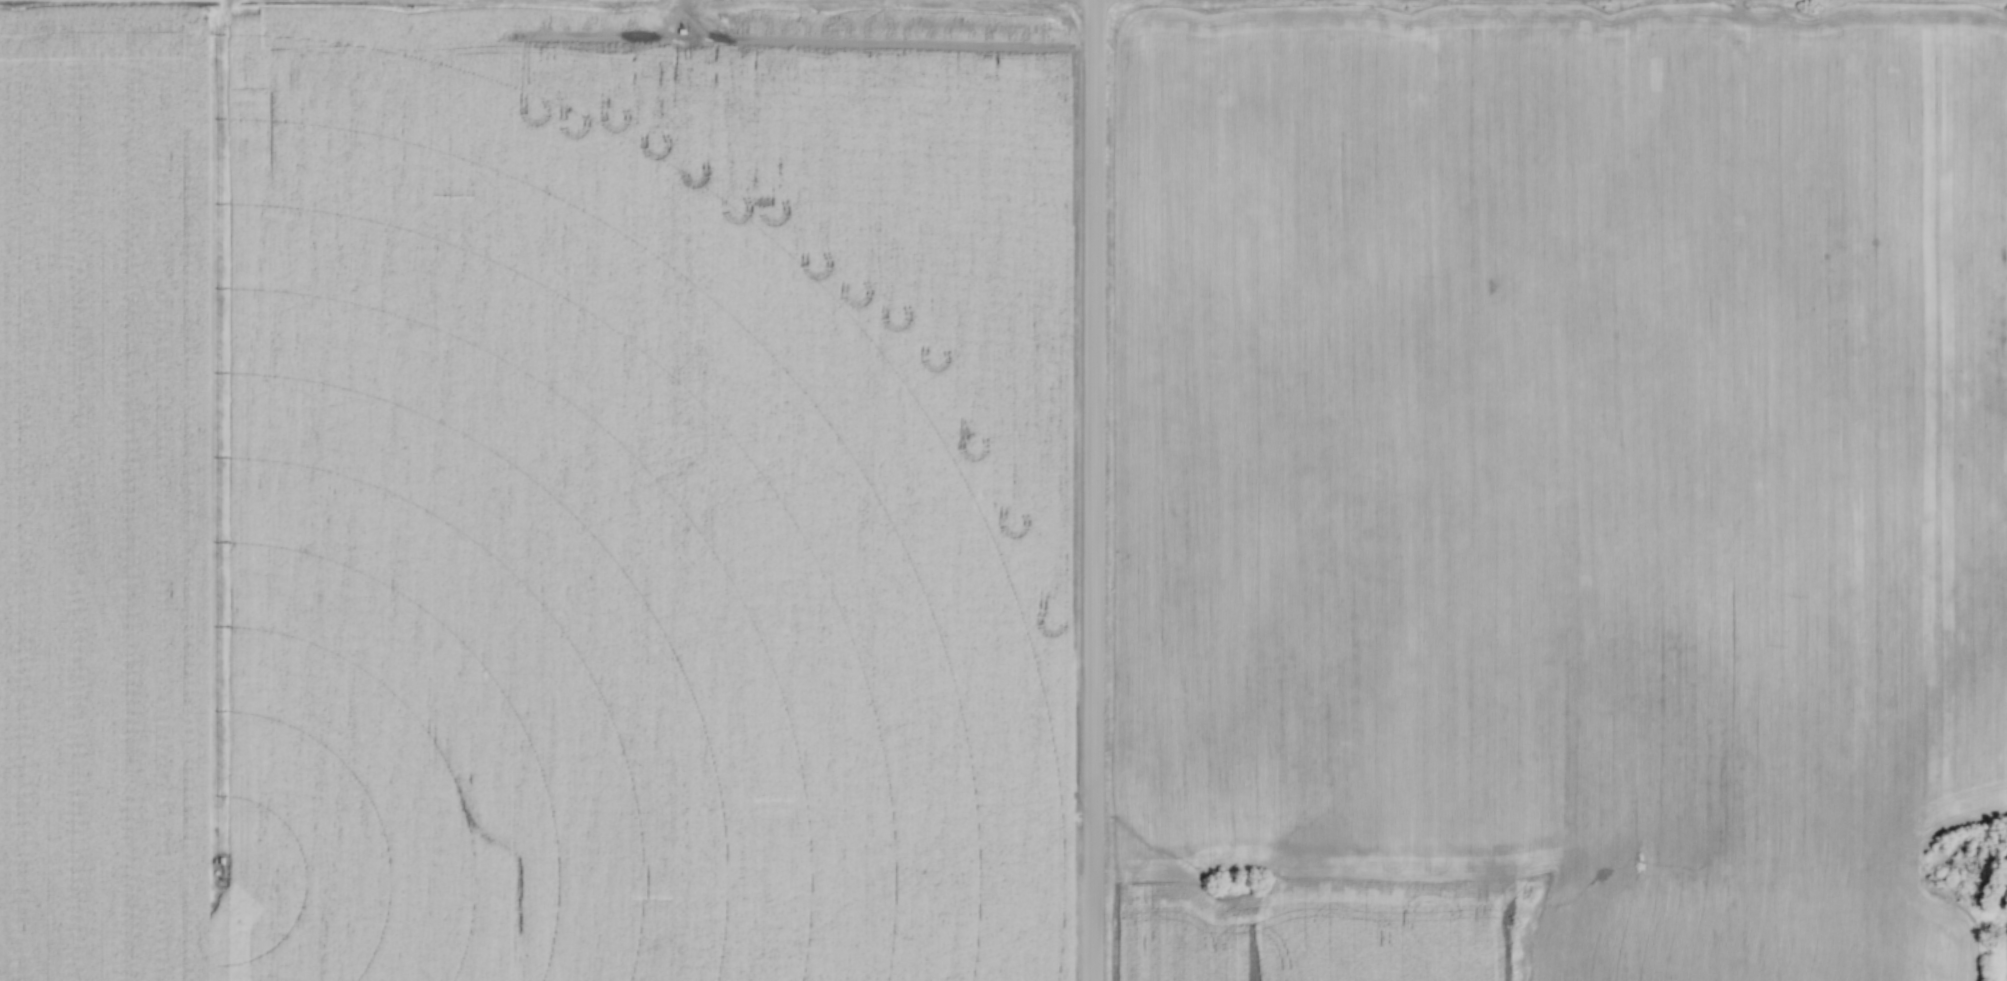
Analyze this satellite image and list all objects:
road: (1095, 490)

